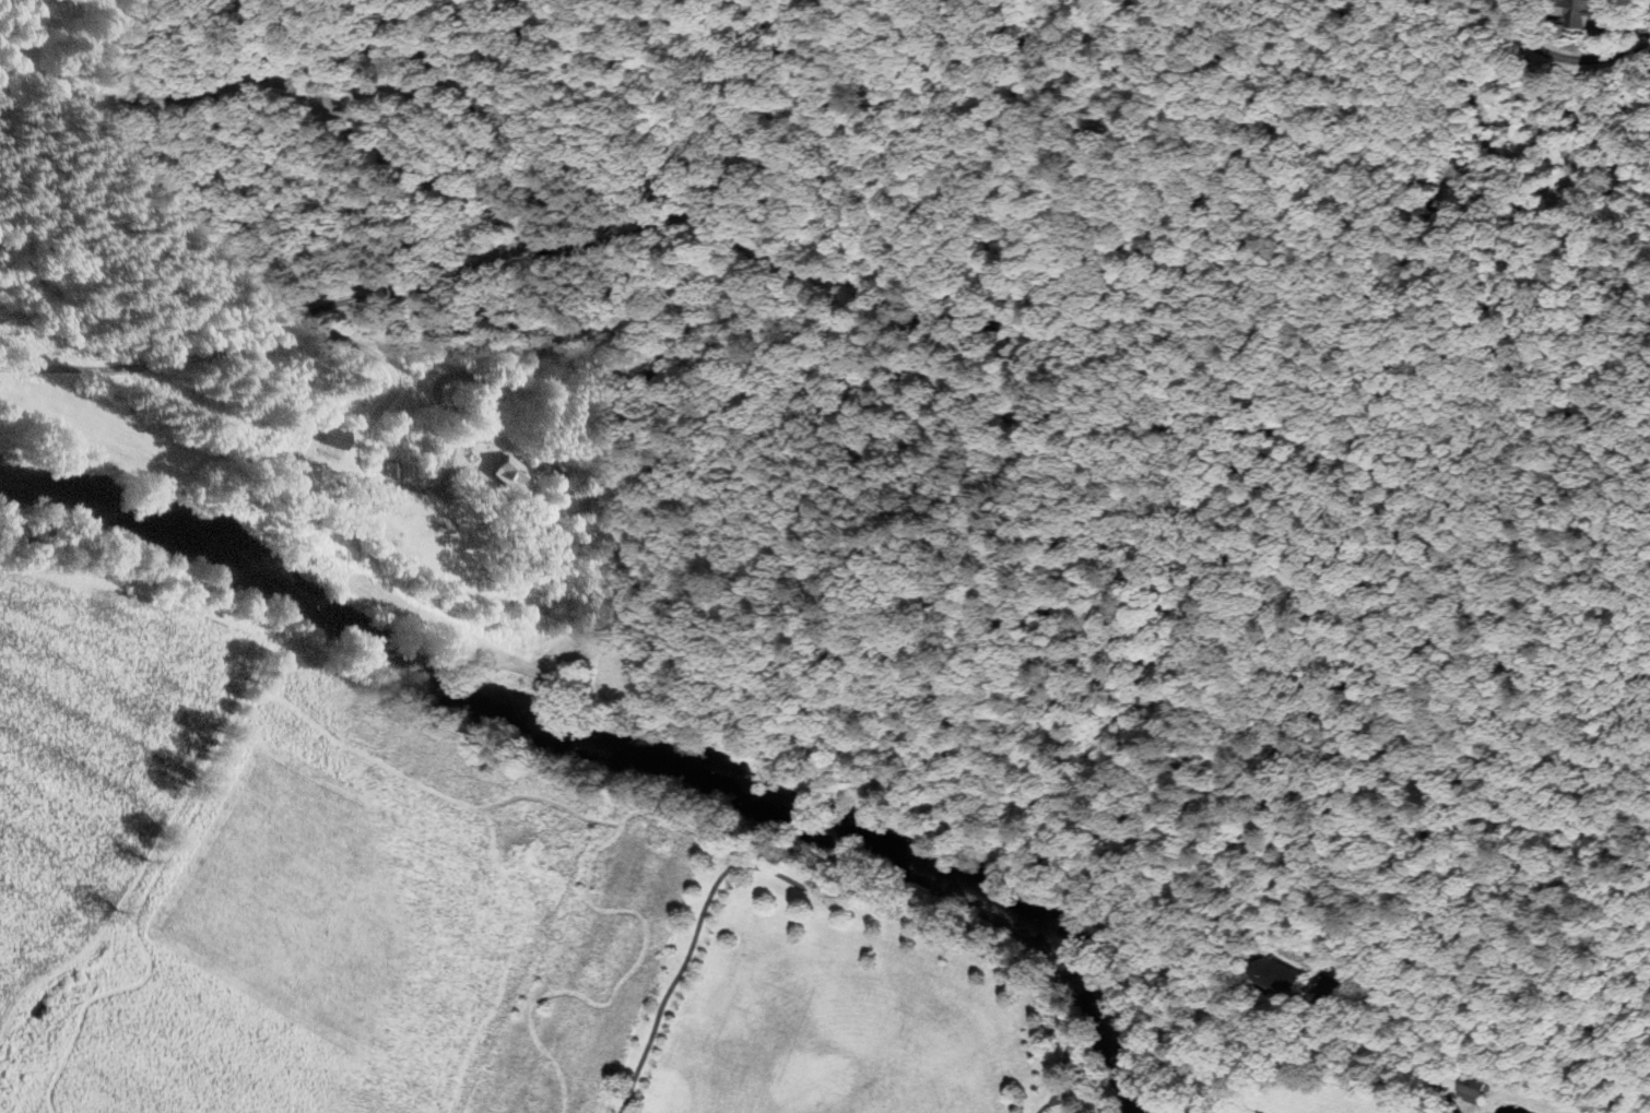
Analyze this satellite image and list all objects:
building: (1580, 13)
road: (1560, 56)
road: (187, 359)
building: (332, 439)
building: (390, 470)
building: (510, 474)
building: (549, 474)
building: (592, 507)
building: (627, 548)
road: (273, 686)
river: (617, 753)
road: (834, 892)
road: (502, 951)
road: (618, 976)
park: (776, 991)
building: (1329, 992)
building: (532, 1013)
road: (1386, 1049)
building: (1464, 1092)
road: (1088, 1097)
road: (452, 1111)

